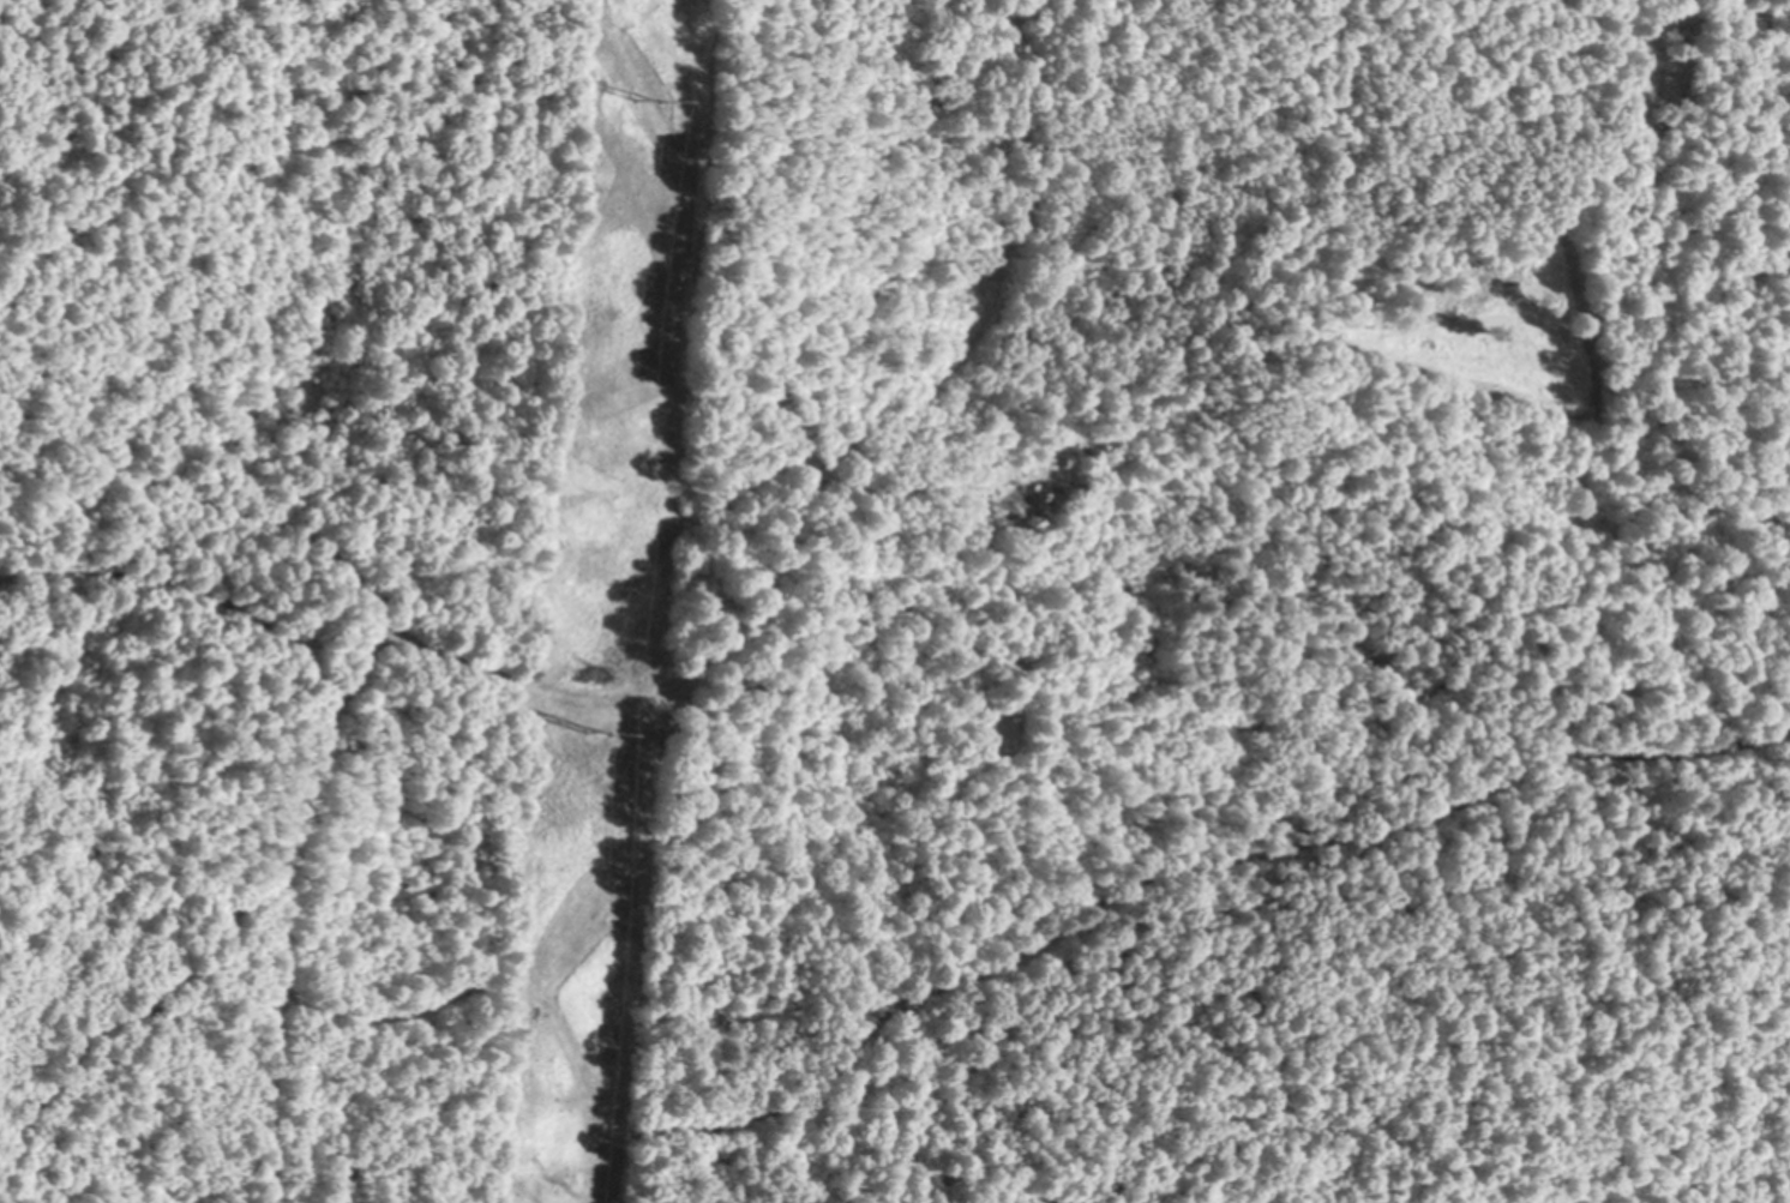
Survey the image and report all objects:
power tower: (642, 89)
power tower: (590, 741)

